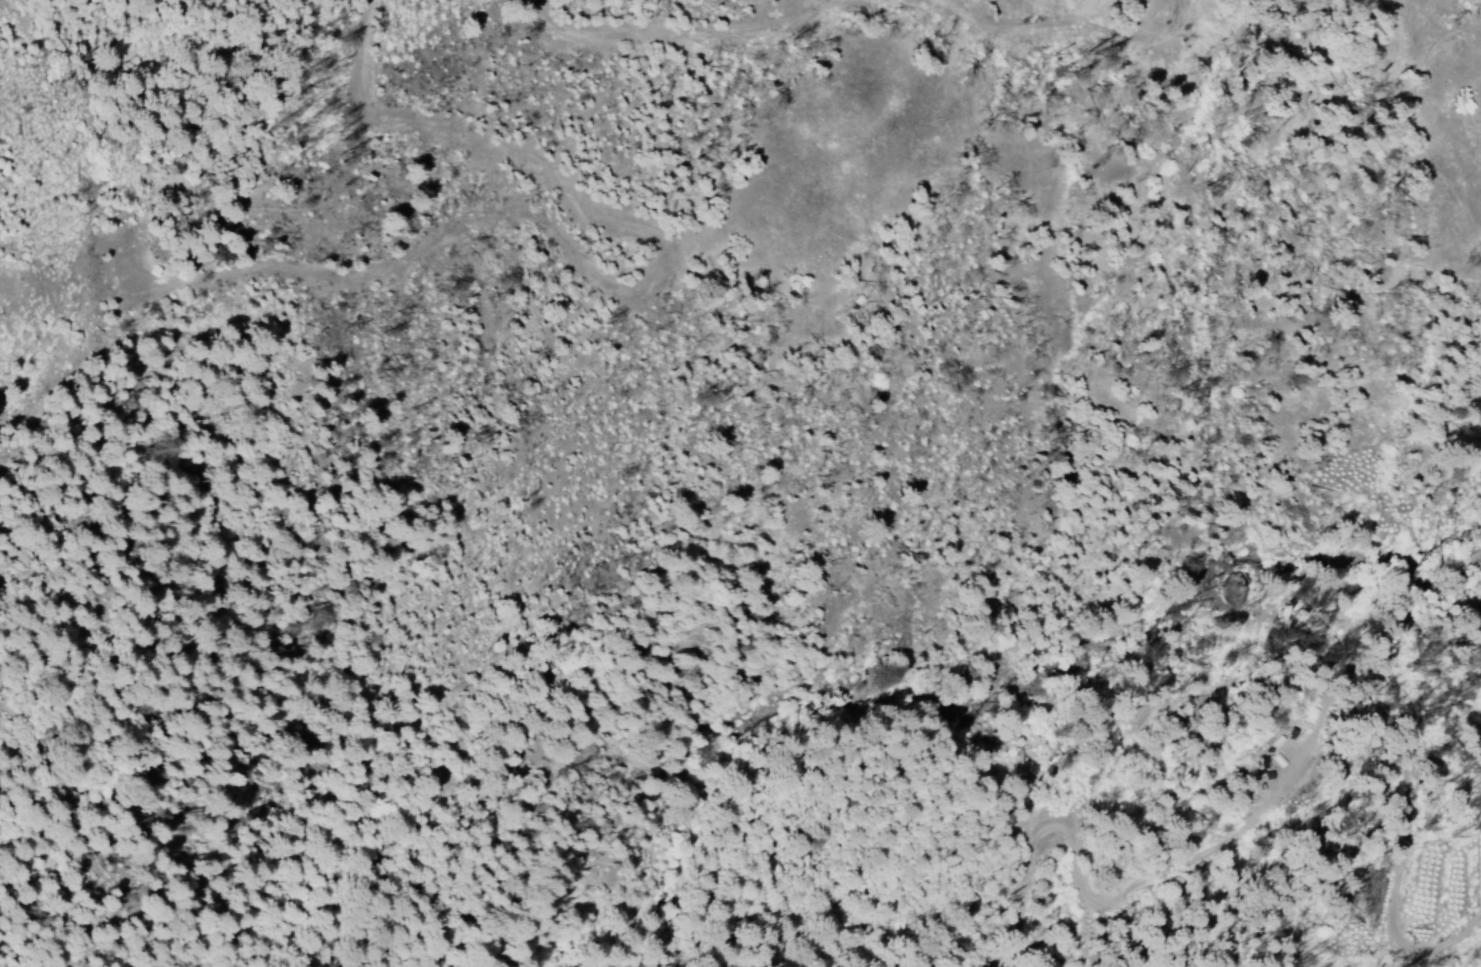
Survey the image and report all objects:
road: (1024, 963)

